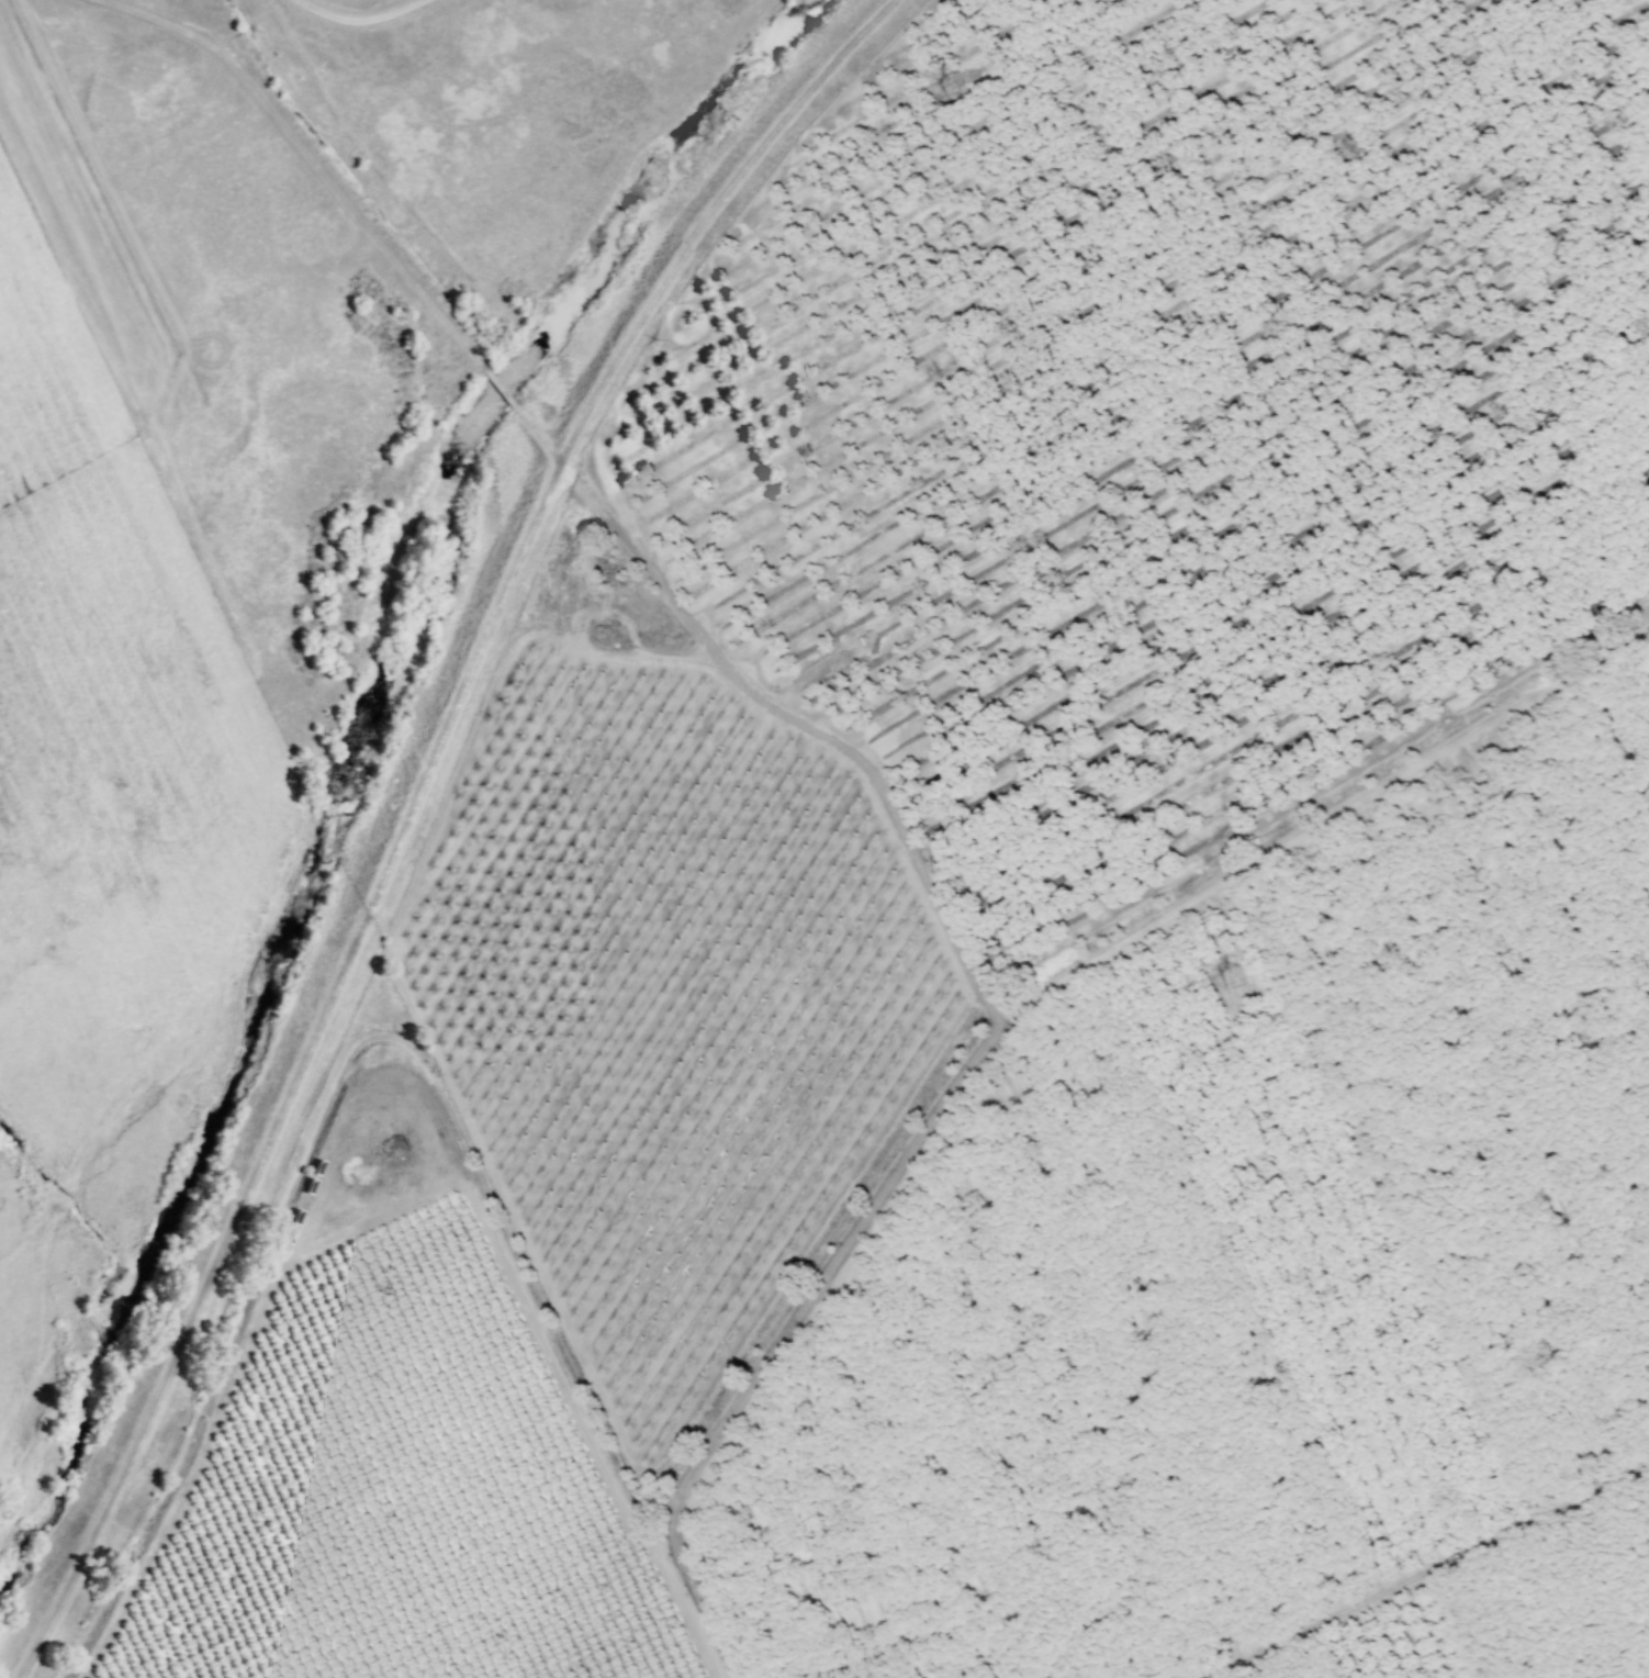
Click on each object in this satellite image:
power tower: (956, 90)
road: (582, 482)
road: (1074, 961)
power tower: (1235, 980)
road: (405, 1097)

